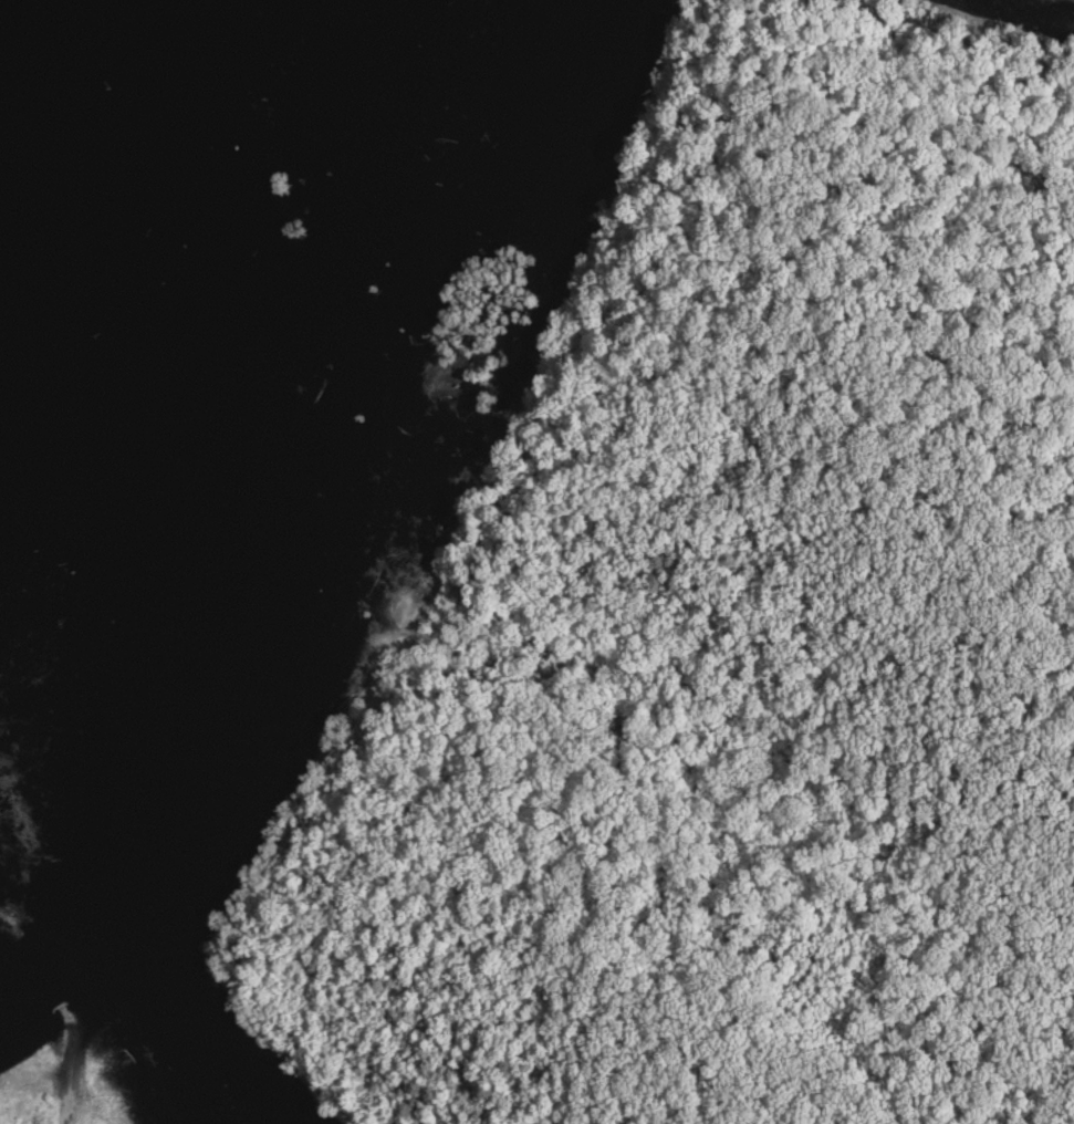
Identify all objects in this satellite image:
road: (70, 1076)

